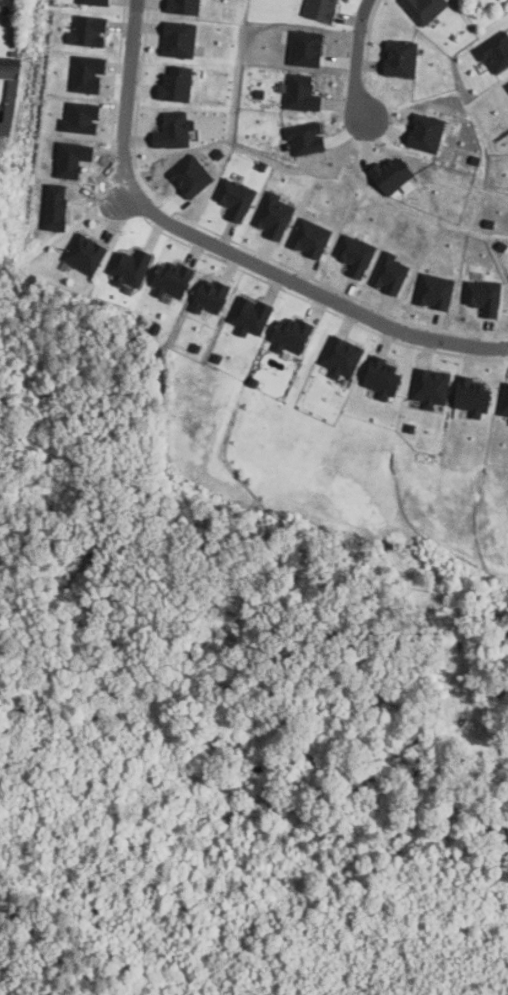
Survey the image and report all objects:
building: (93, 1)
building: (182, 6)
building: (322, 9)
building: (423, 9)
building: (87, 30)
building: (178, 39)
building: (304, 45)
building: (261, 51)
building: (494, 51)
building: (399, 57)
road: (355, 58)
building: (85, 71)
building: (173, 82)
building: (506, 86)
building: (7, 91)
building: (258, 91)
building: (300, 91)
building: (78, 115)
building: (172, 129)
building: (425, 132)
building: (304, 138)
building: (217, 152)
building: (70, 155)
building: (474, 160)
building: (261, 165)
building: (189, 173)
building: (390, 174)
building: (234, 198)
building: (52, 206)
building: (272, 215)
building: (487, 221)
building: (309, 237)
building: (502, 243)
road: (225, 245)
building: (84, 253)
building: (354, 254)
building: (128, 267)
building: (388, 273)
building: (171, 279)
building: (433, 291)
building: (482, 295)
building: (207, 296)
building: (248, 315)
building: (153, 327)
building: (290, 335)
building: (194, 347)
building: (340, 357)
building: (215, 358)
building: (380, 375)
building: (252, 381)
building: (430, 387)
building: (470, 396)
building: (503, 400)
building: (409, 428)

